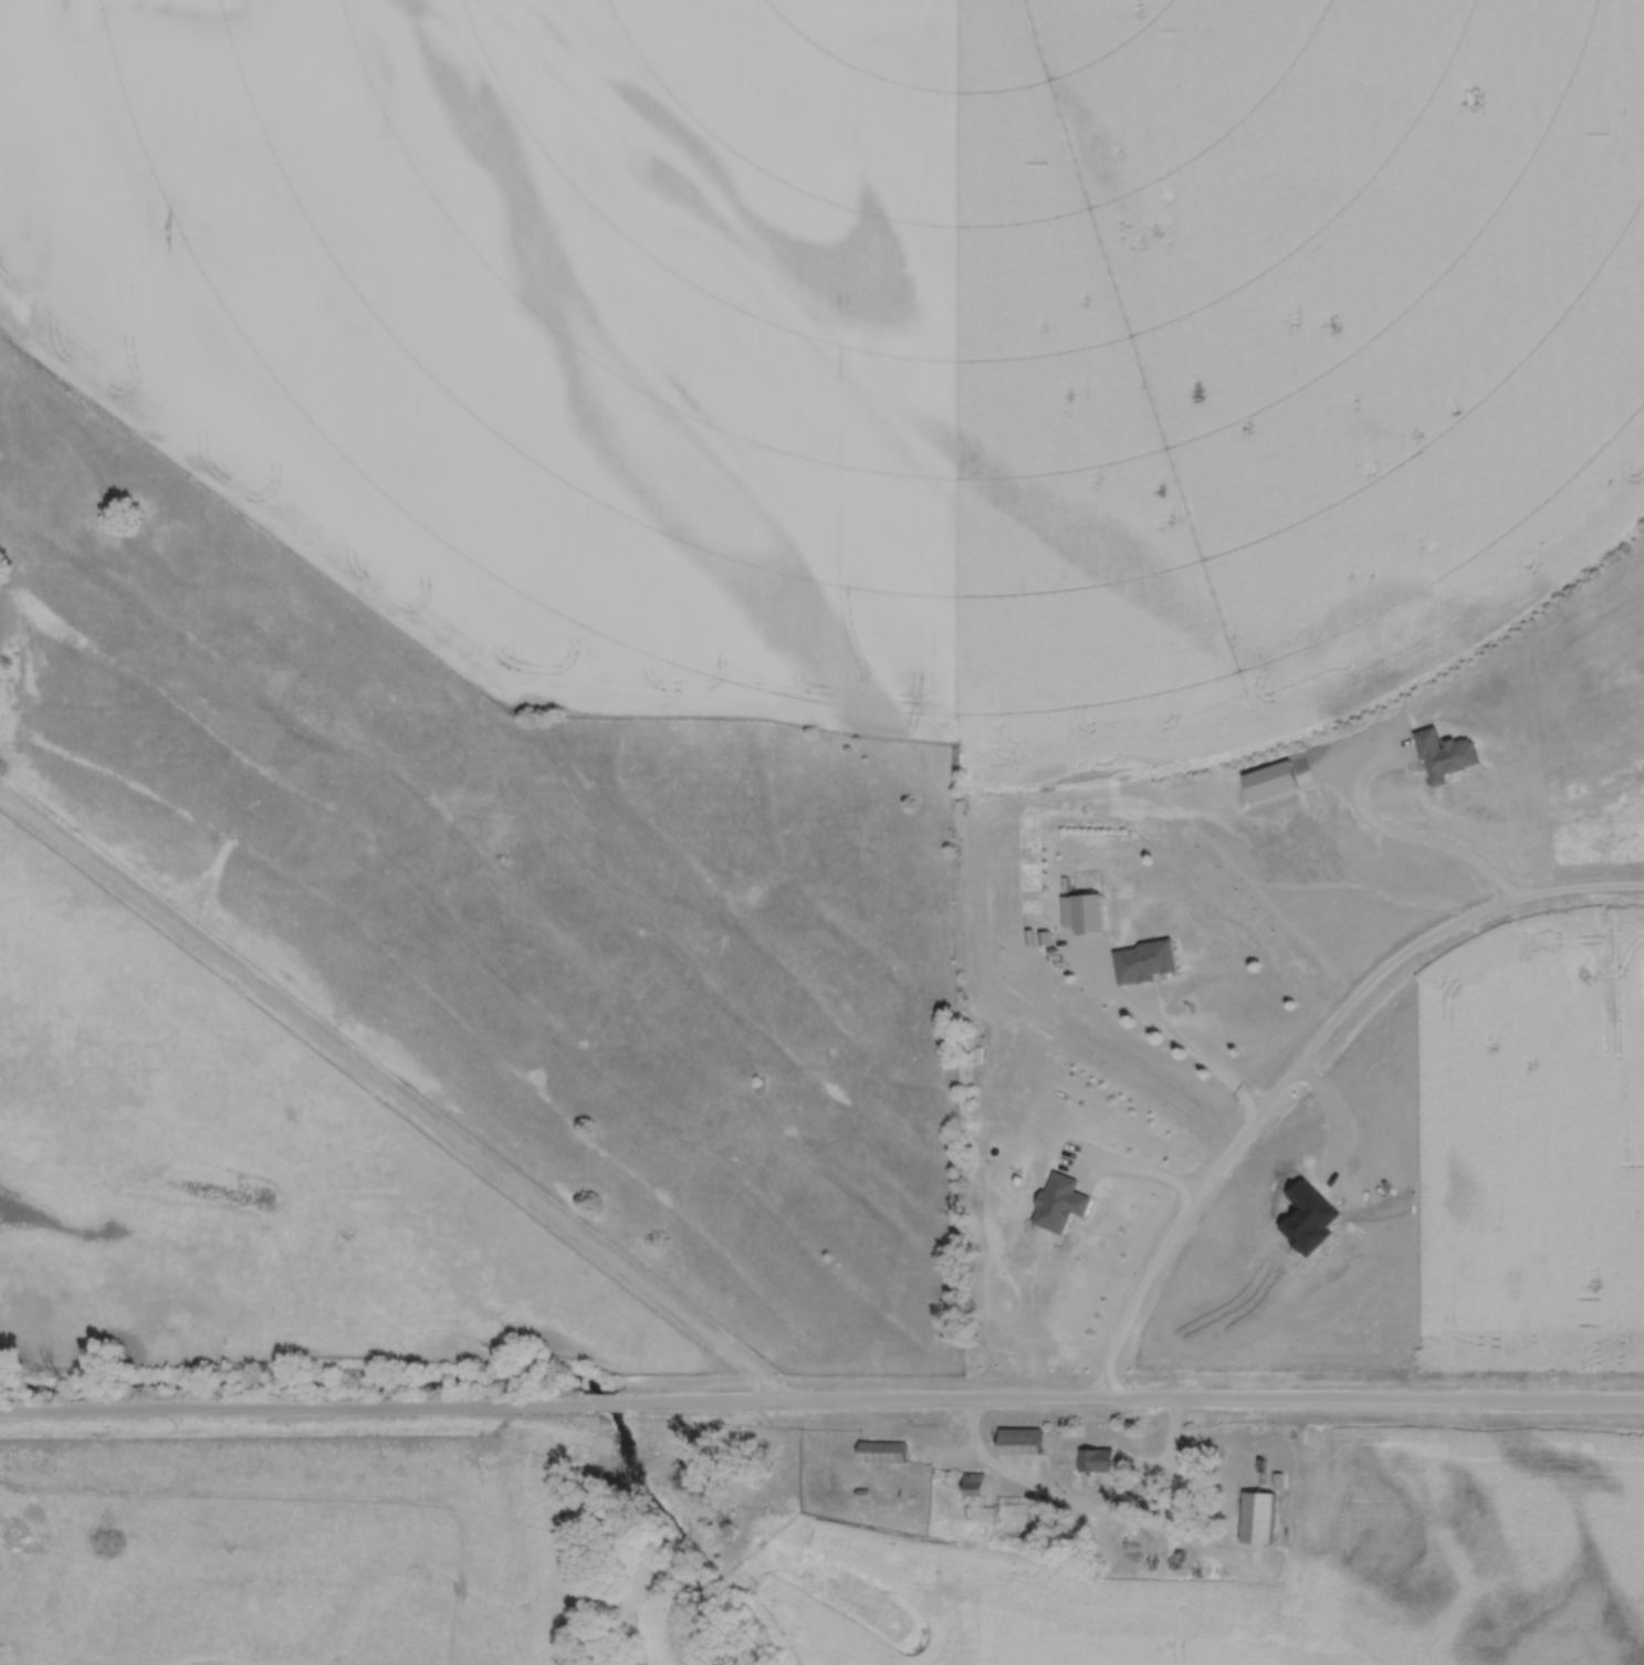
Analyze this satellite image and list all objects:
road: (1402, 840)
building: (1089, 914)
building: (1155, 961)
road: (1166, 1033)
road: (1302, 1061)
road: (395, 1091)
road: (1145, 1174)
river: (455, 1382)
road: (604, 1400)
road: (1132, 1400)
road: (293, 1402)
building: (1020, 1442)
building: (882, 1453)
building: (1097, 1460)
building: (974, 1486)
road: (1099, 1514)
building: (1258, 1518)

